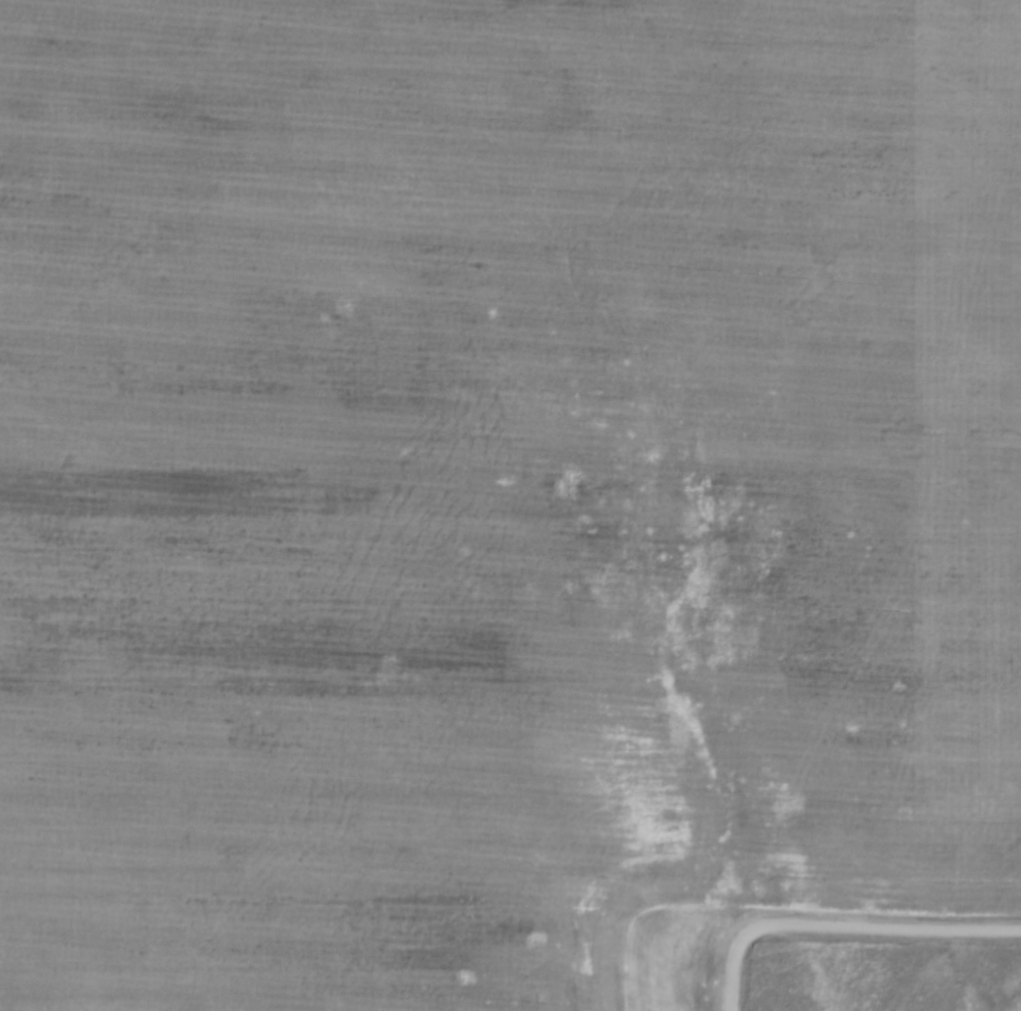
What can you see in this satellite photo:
road: (845, 928)

